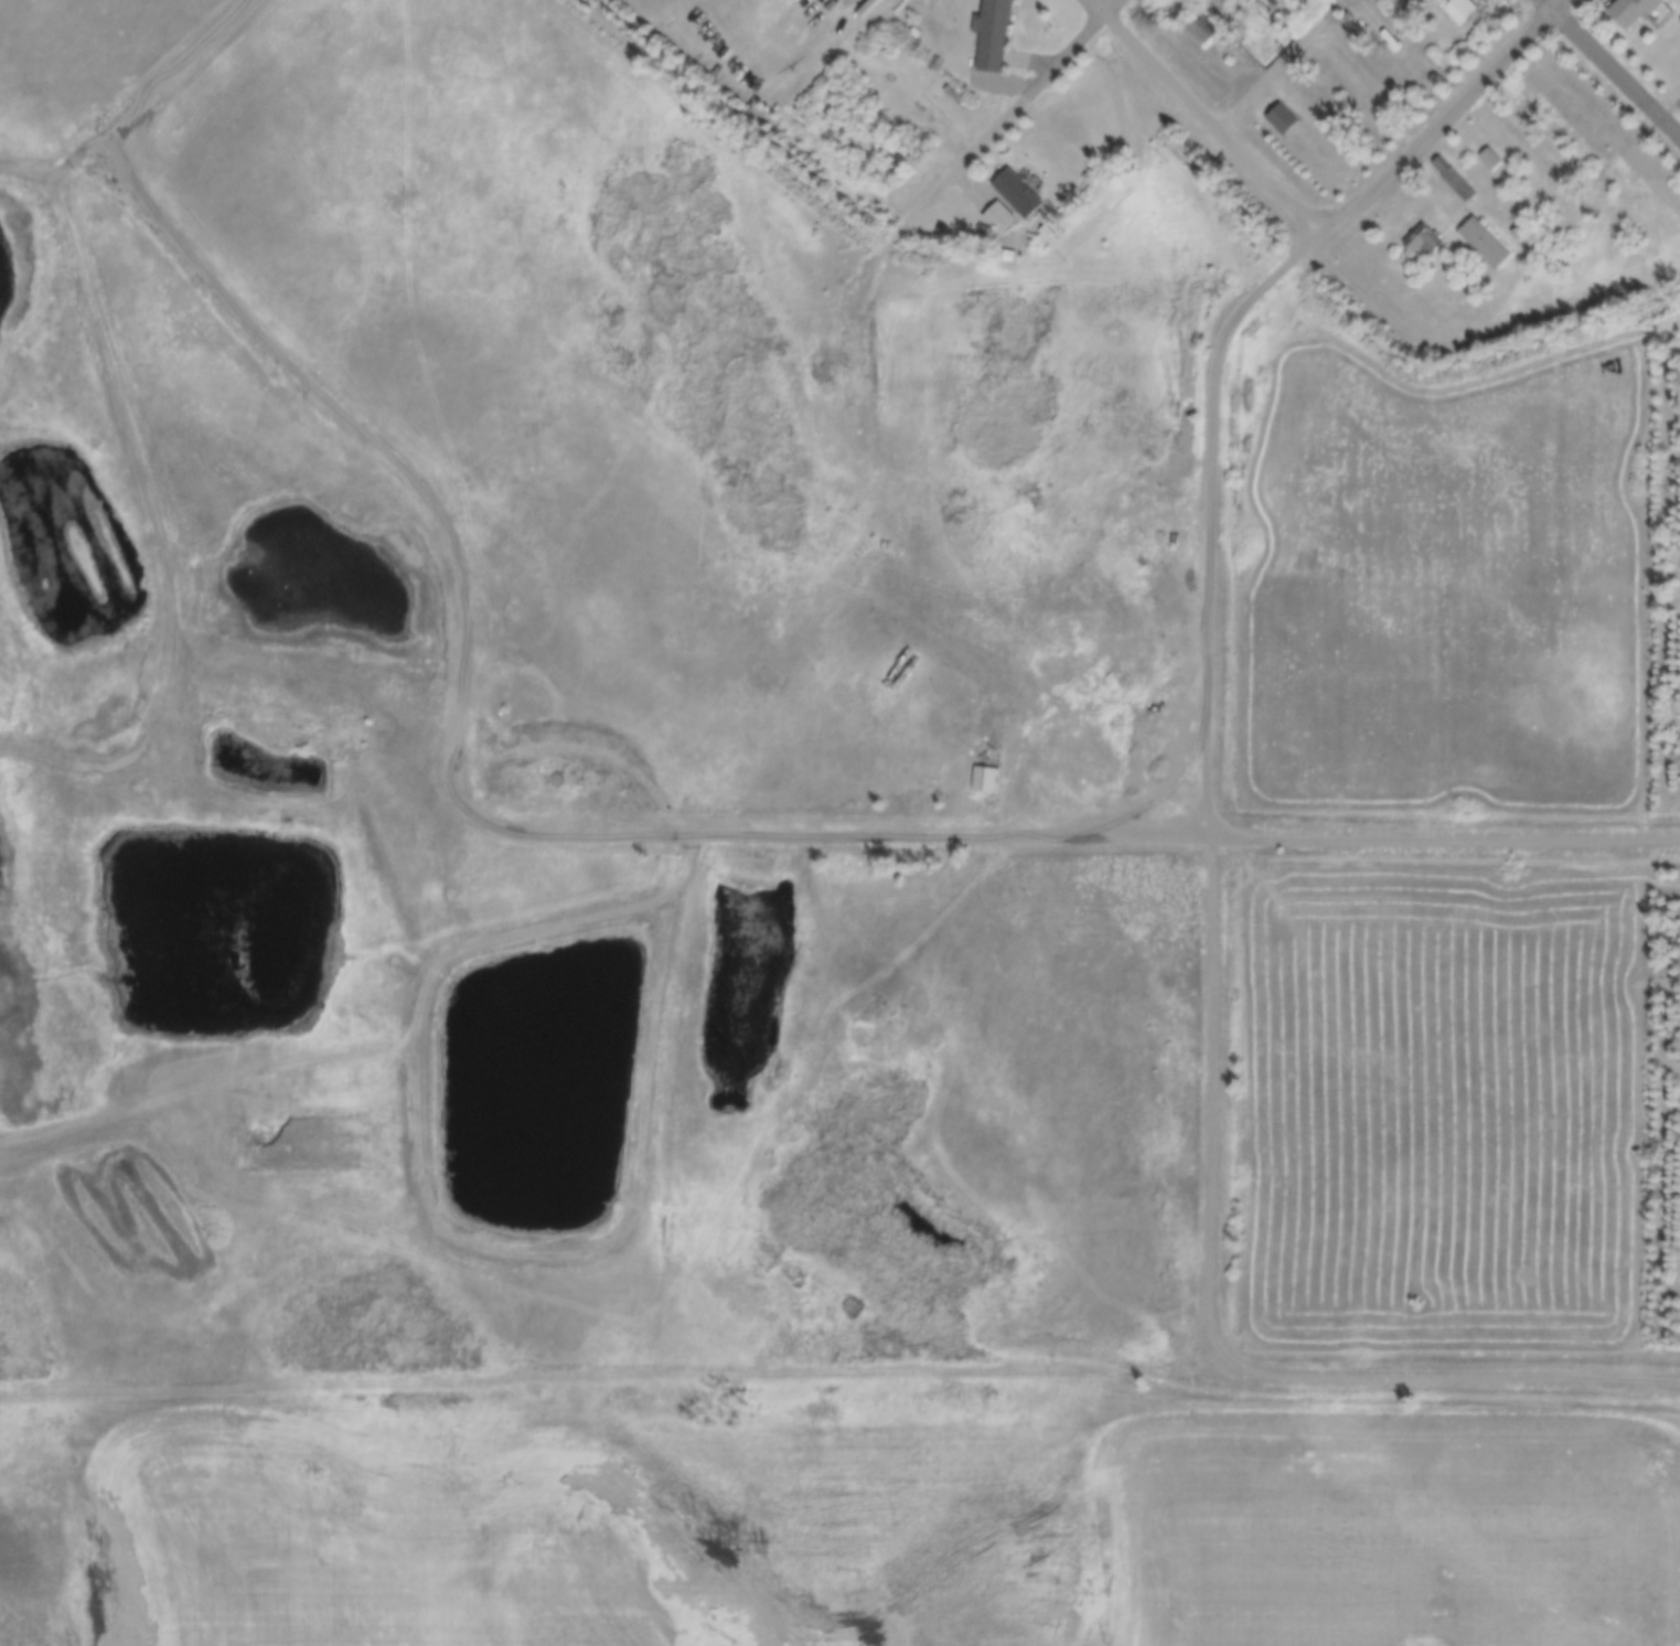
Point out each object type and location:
building: (1463, 9)
road: (1114, 10)
building: (1233, 10)
building: (1637, 11)
building: (1205, 32)
building: (997, 33)
road: (1066, 62)
road: (1285, 68)
road: (1611, 68)
road: (136, 111)
building: (1285, 119)
road: (1203, 121)
road: (1453, 121)
building: (1492, 160)
road: (967, 163)
building: (1456, 180)
building: (1020, 195)
building: (1000, 218)
building: (1046, 233)
building: (1519, 234)
building: (1426, 244)
building: (1488, 244)
building: (1023, 246)
road: (320, 434)
road: (167, 542)
building: (987, 781)
road: (1038, 841)
road: (1218, 1006)

